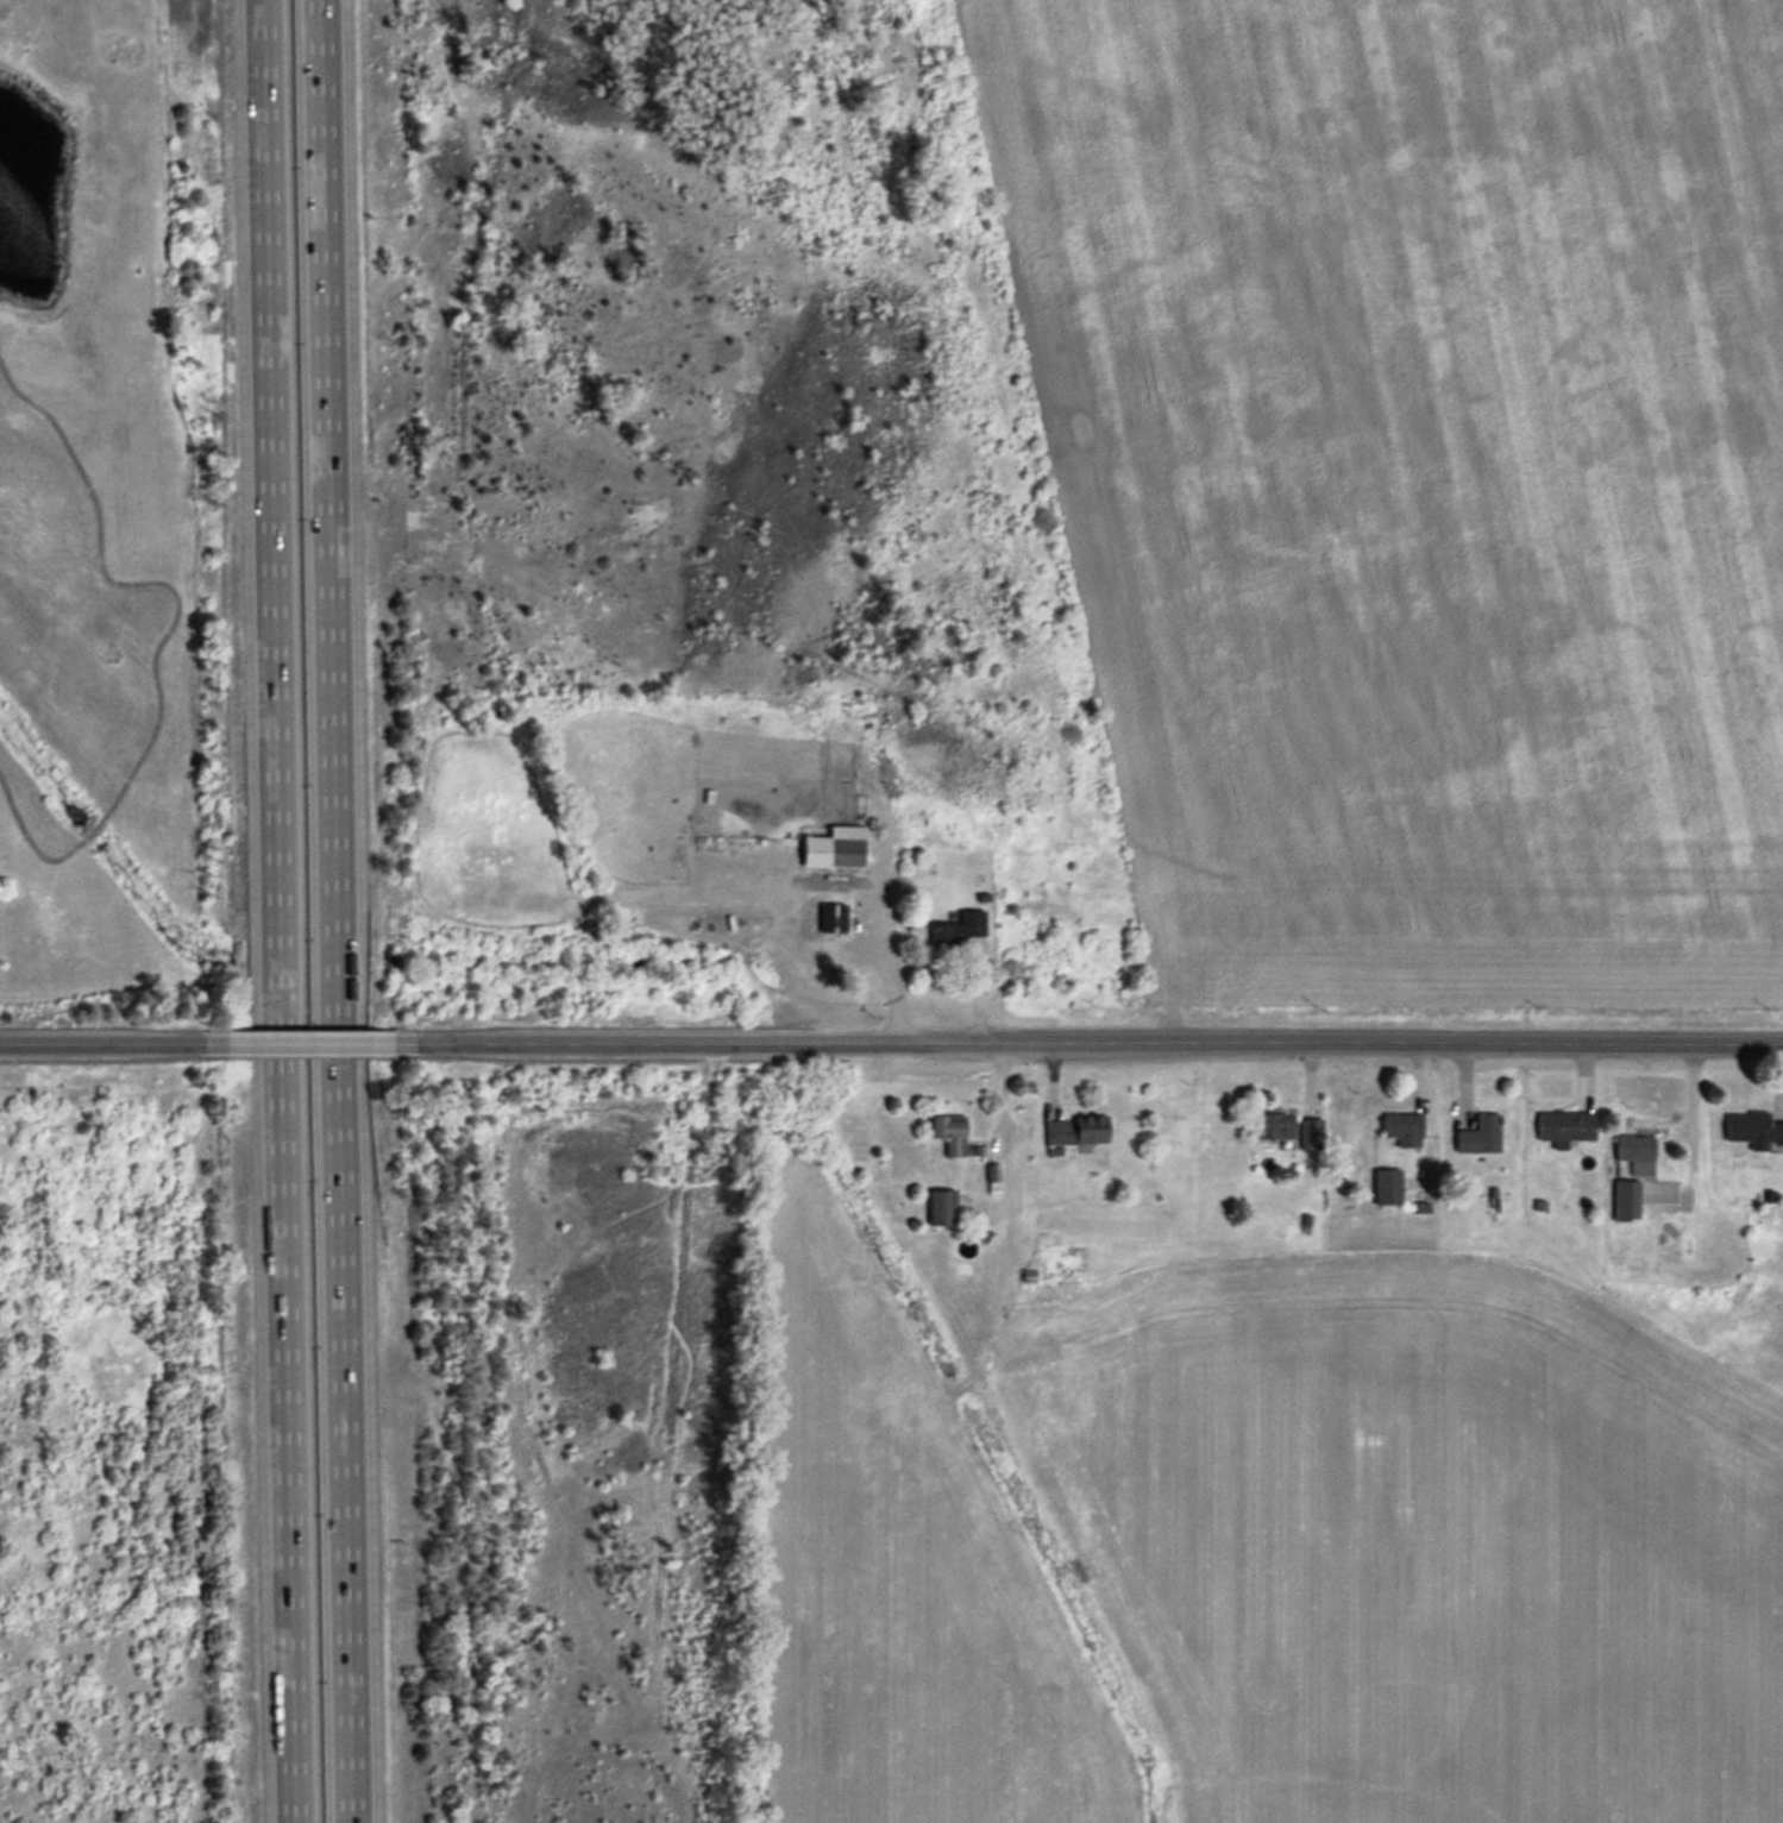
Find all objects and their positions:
crop: (1415, 477)
building: (845, 853)
road: (272, 911)
road: (343, 911)
building: (831, 918)
building: (958, 931)
road: (978, 995)
road: (1090, 1045)
road: (115, 1046)
road: (314, 1046)
road: (1691, 1124)
building: (1565, 1126)
building: (1275, 1127)
building: (1402, 1130)
building: (1075, 1131)
building: (1752, 1131)
building: (949, 1134)
building: (1310, 1134)
building: (1480, 1136)
building: (1634, 1149)
building: (1387, 1188)
building: (1626, 1201)
building: (941, 1208)
building: (1051, 1265)

